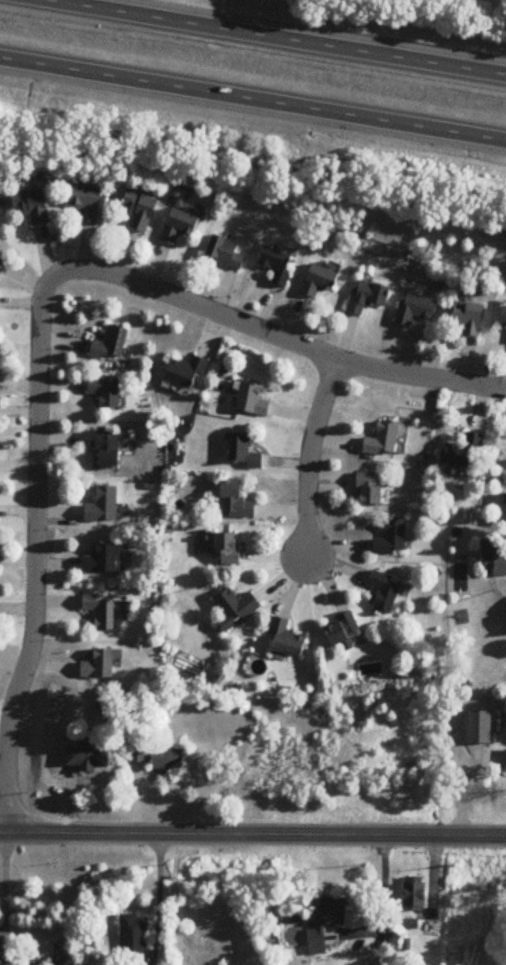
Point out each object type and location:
road: (273, 37)
road: (253, 101)
building: (86, 203)
building: (32, 206)
building: (140, 211)
building: (179, 227)
building: (0, 242)
building: (226, 253)
building: (2, 265)
building: (278, 265)
building: (319, 281)
building: (362, 296)
building: (410, 308)
building: (500, 316)
building: (461, 318)
road: (288, 342)
building: (112, 343)
building: (185, 372)
building: (106, 391)
building: (252, 400)
building: (384, 440)
building: (106, 448)
building: (244, 451)
building: (458, 452)
road: (310, 457)
building: (372, 490)
building: (235, 500)
building: (103, 506)
building: (503, 510)
building: (393, 539)
road: (37, 543)
building: (229, 548)
building: (488, 557)
building: (103, 559)
building: (386, 591)
building: (504, 606)
building: (236, 608)
building: (101, 612)
building: (343, 631)
building: (288, 639)
building: (101, 664)
building: (480, 727)
building: (139, 753)
building: (89, 756)
building: (168, 759)
road: (2, 800)
road: (252, 834)
road: (5, 887)
building: (415, 894)
road: (157, 899)
building: (328, 923)
building: (432, 929)
building: (133, 940)

